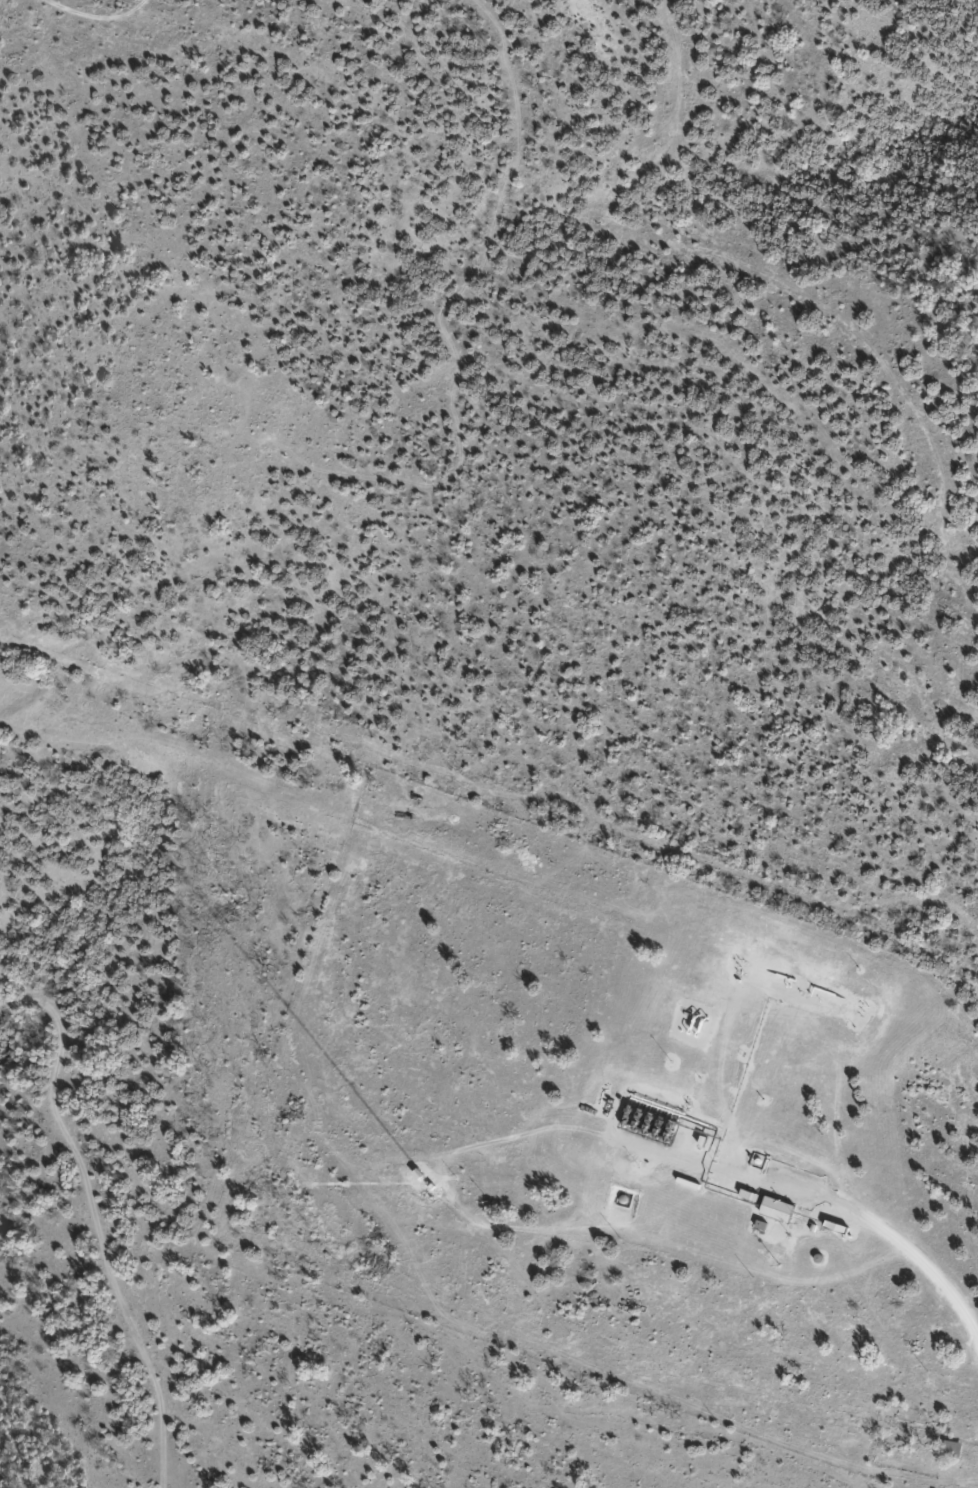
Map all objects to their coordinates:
building: (771, 1208)
road: (924, 1286)
building: (947, 1448)

